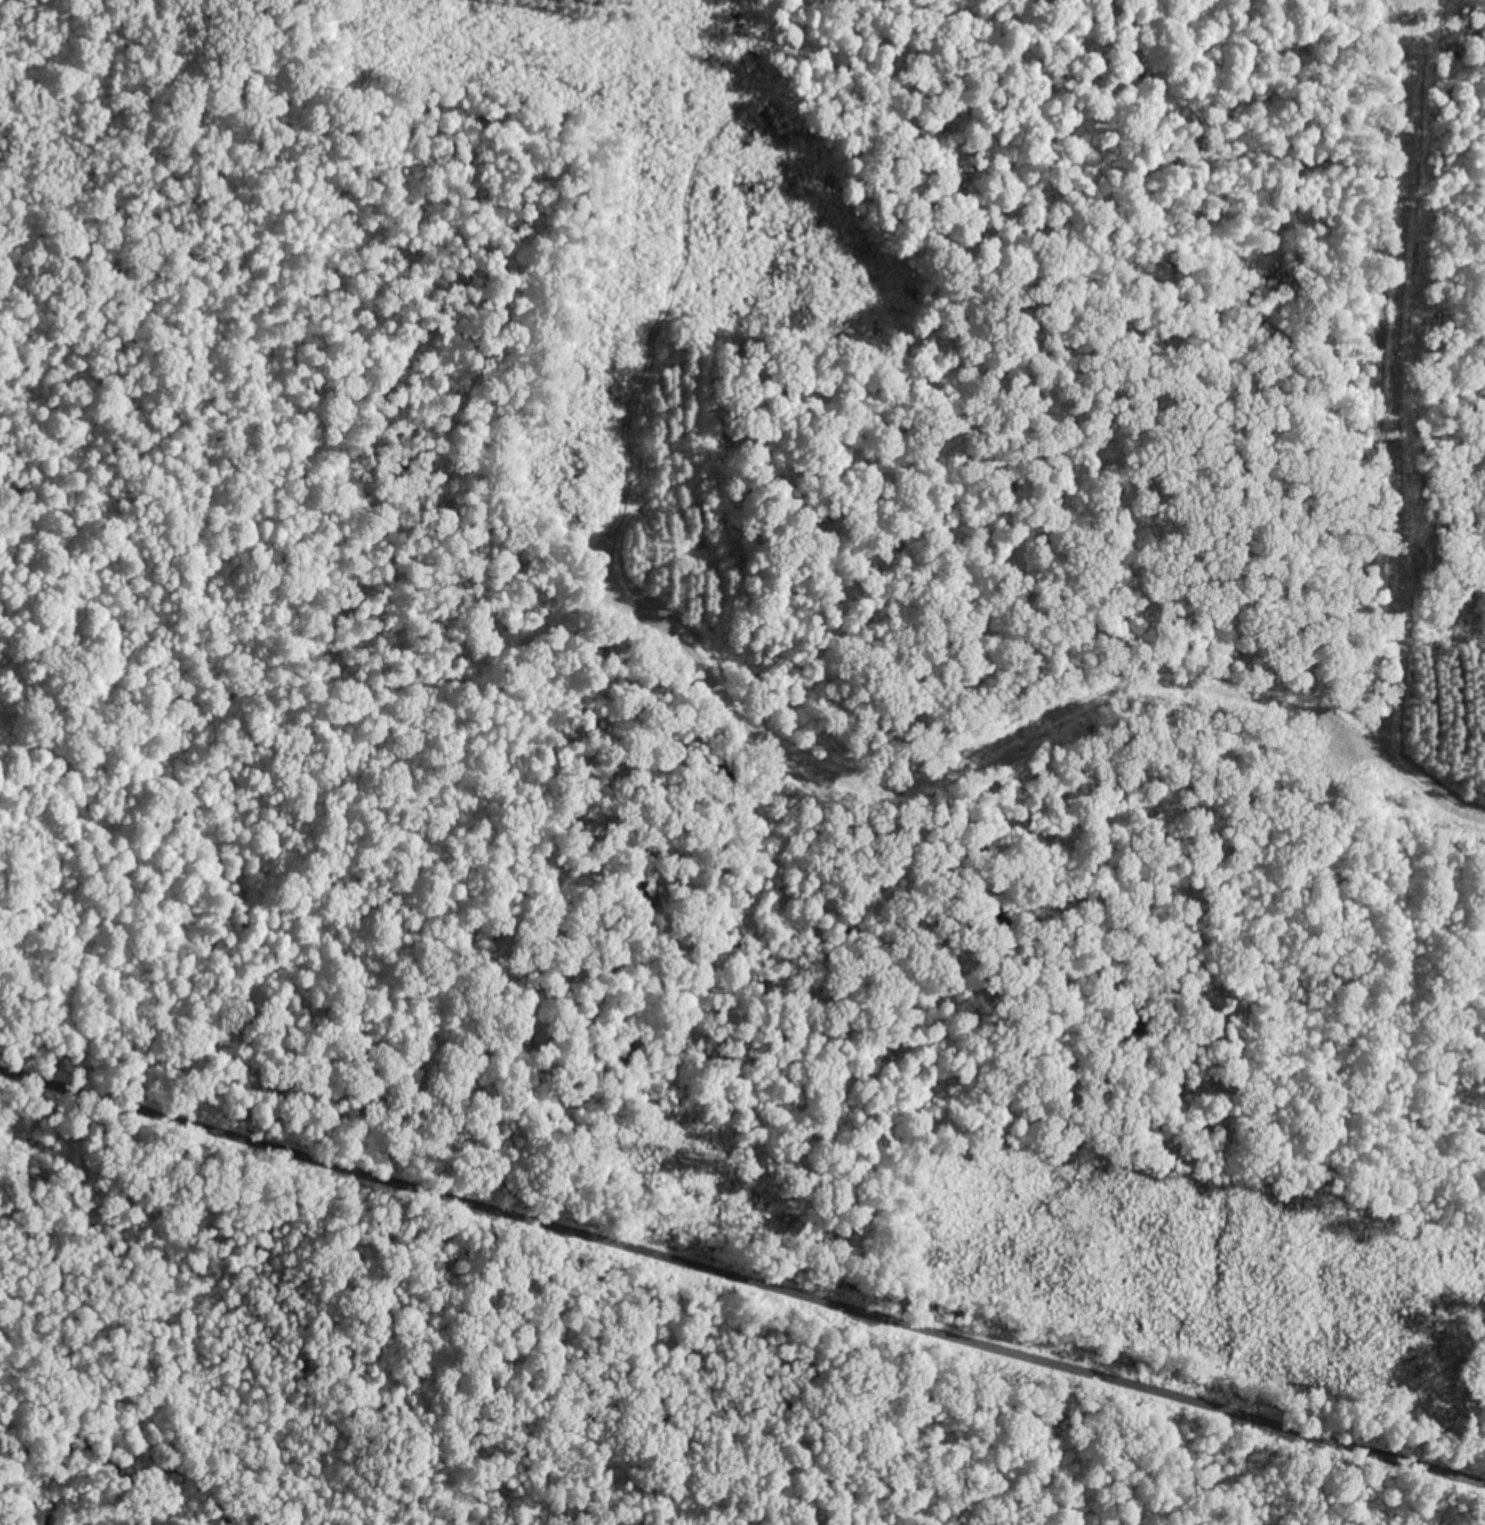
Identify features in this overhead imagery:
road: (742, 1269)
road: (1331, 1521)

